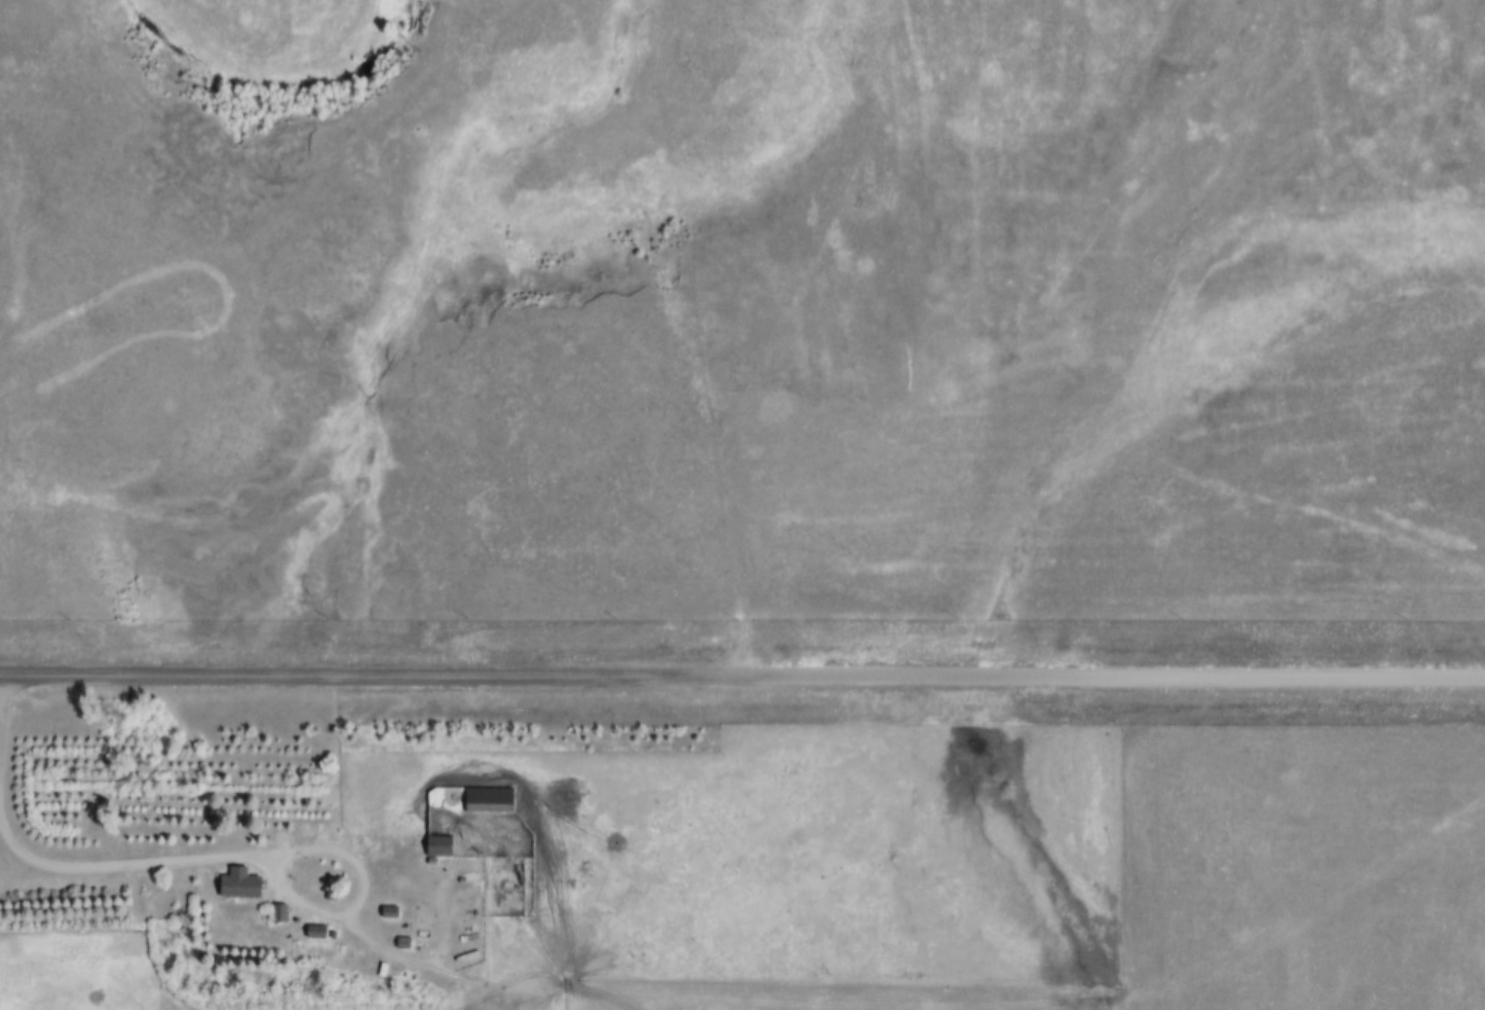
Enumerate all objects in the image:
road: (742, 683)
building: (487, 799)
building: (436, 845)
road: (211, 863)
building: (233, 886)
building: (277, 913)
building: (314, 932)

